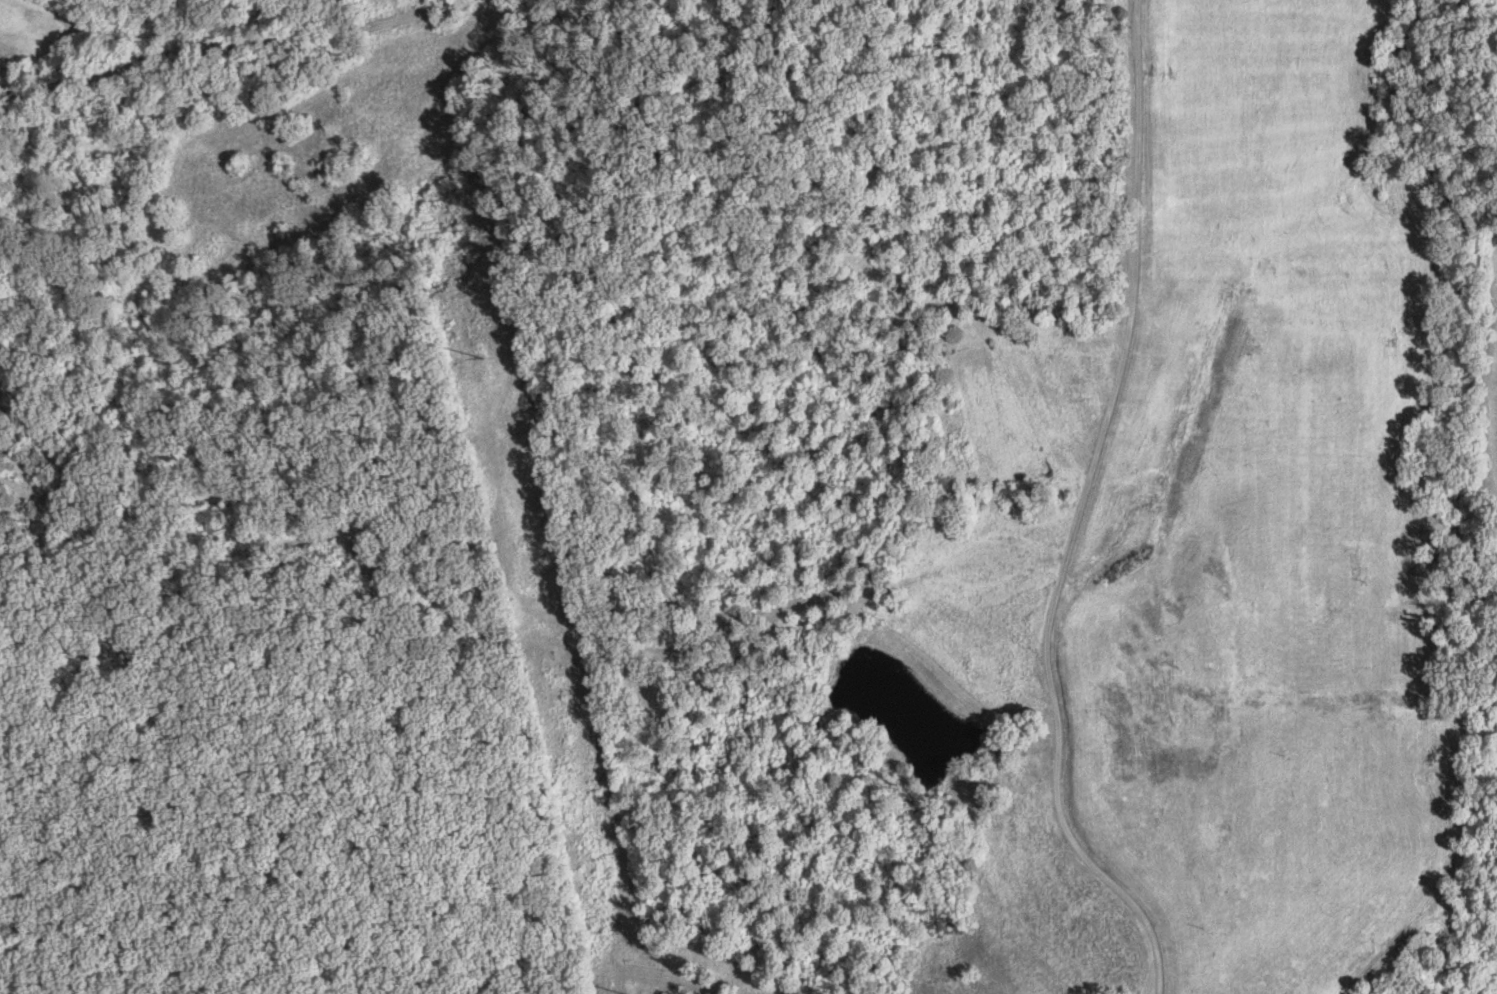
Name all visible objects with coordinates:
road: (1077, 514)

